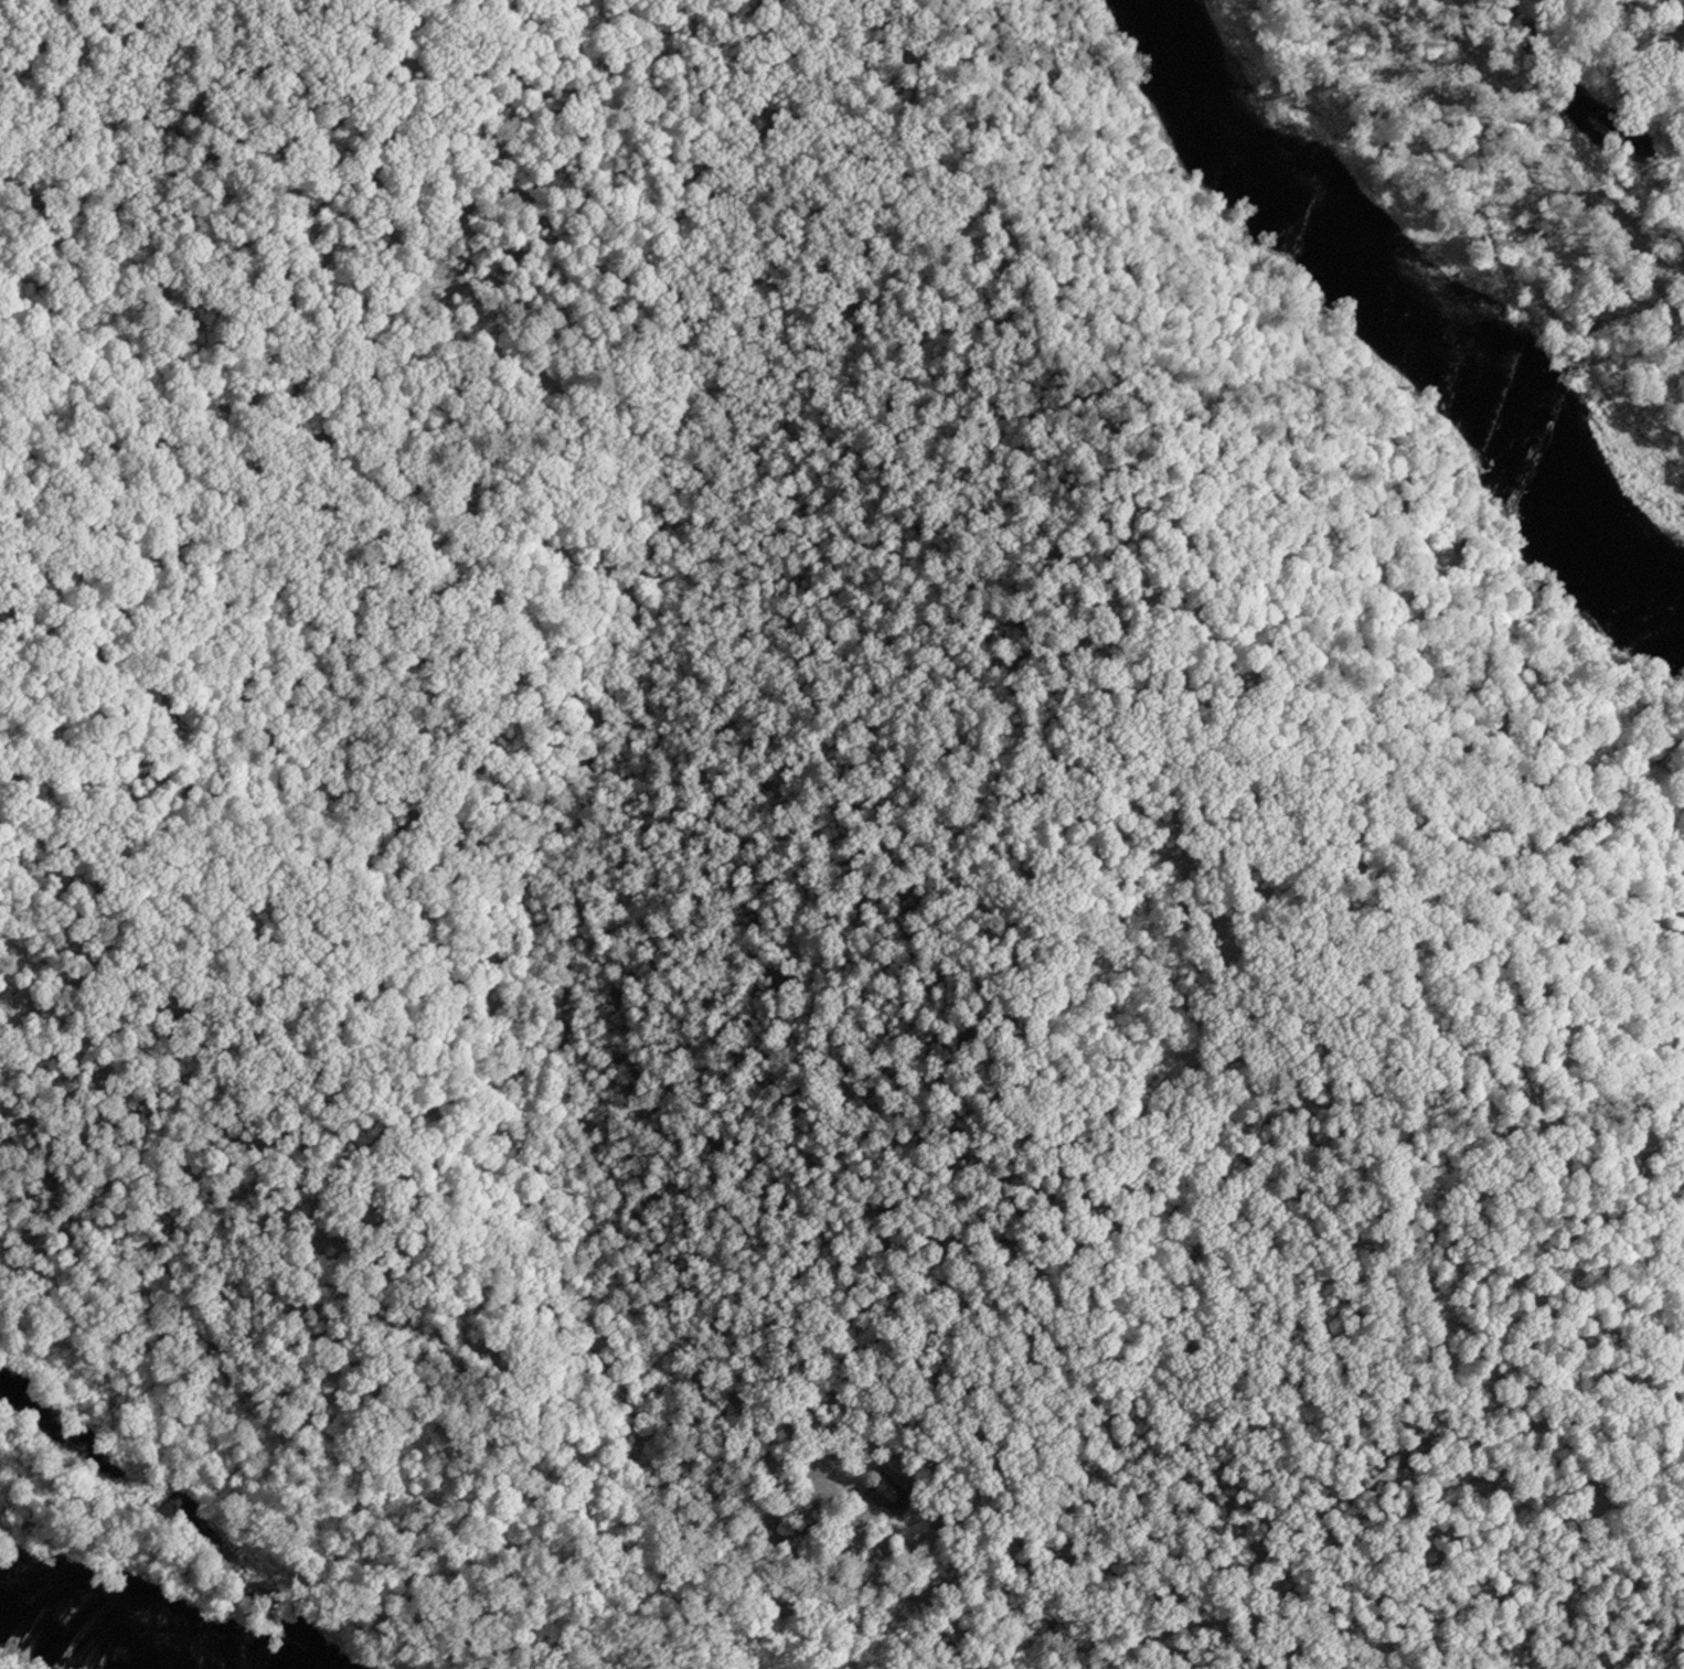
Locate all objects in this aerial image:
river: (1384, 343)
building: (888, 1494)
river: (67, 1639)

